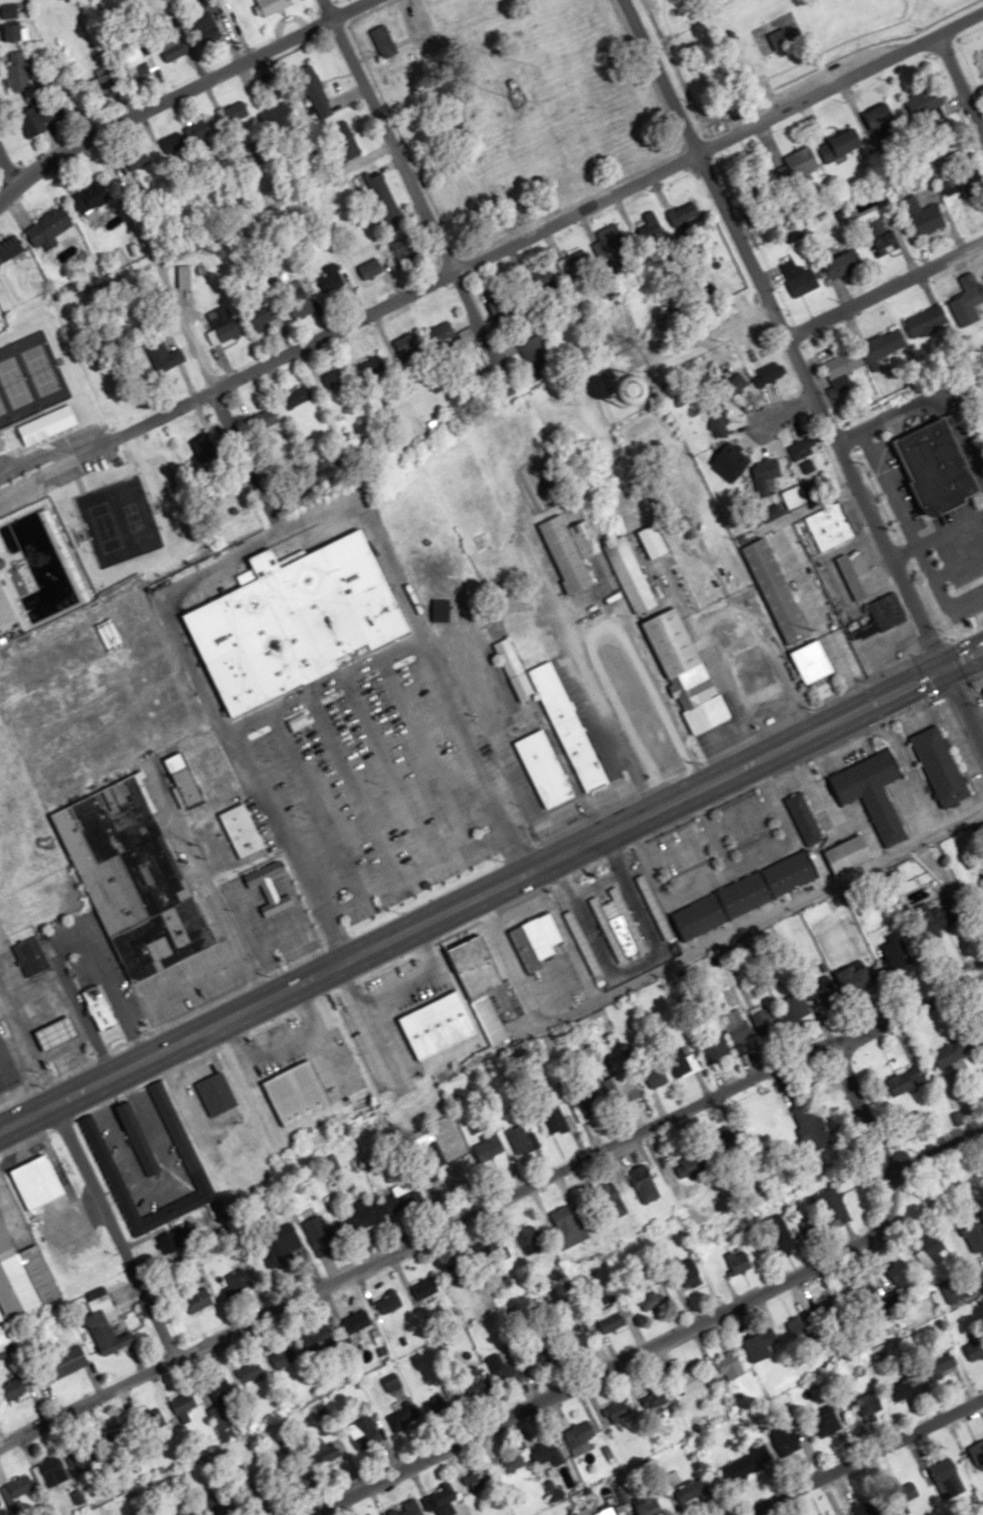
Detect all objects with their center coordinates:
building: (271, 6)
building: (11, 23)
building: (207, 28)
building: (779, 40)
building: (383, 42)
park: (770, 45)
building: (176, 49)
building: (18, 72)
road: (771, 75)
parking lot: (809, 80)
road: (960, 80)
building: (314, 91)
road: (180, 93)
building: (936, 107)
building: (241, 109)
building: (880, 117)
building: (39, 119)
building: (187, 135)
building: (344, 140)
building: (841, 145)
building: (254, 153)
building: (800, 157)
road: (7, 169)
building: (963, 182)
building: (371, 187)
road: (413, 190)
building: (91, 197)
building: (923, 215)
building: (686, 219)
building: (756, 219)
road: (549, 224)
building: (50, 229)
building: (883, 236)
building: (611, 238)
building: (11, 249)
building: (574, 262)
building: (842, 265)
building: (370, 268)
road: (157, 274)
building: (797, 276)
building: (543, 277)
building: (331, 280)
road: (885, 288)
building: (298, 298)
building: (503, 305)
building: (264, 313)
building: (223, 324)
road: (784, 331)
building: (442, 333)
building: (407, 346)
building: (883, 349)
building: (533, 354)
building: (164, 357)
building: (842, 364)
building: (769, 373)
park: (28, 377)
building: (734, 383)
water tower: (629, 393)
building: (296, 397)
road: (778, 412)
building: (266, 419)
building: (717, 421)
building: (801, 448)
building: (939, 462)
parking lot: (52, 463)
building: (792, 492)
building: (829, 526)
road: (254, 541)
parking lot: (936, 541)
building: (569, 549)
road: (793, 573)
building: (630, 575)
building: (852, 577)
building: (777, 590)
building: (440, 609)
building: (886, 610)
building: (5, 613)
building: (295, 619)
building: (864, 630)
building: (0, 644)
building: (620, 656)
building: (812, 661)
traffic signals: (947, 663)
building: (514, 669)
building: (687, 669)
building: (759, 676)
road: (324, 683)
road: (965, 699)
building: (523, 713)
building: (568, 728)
building: (648, 740)
building: (940, 767)
building: (544, 769)
building: (184, 778)
parking lot: (378, 789)
building: (871, 791)
building: (803, 818)
building: (242, 830)
building: (848, 854)
building: (133, 880)
road: (490, 883)
building: (269, 887)
building: (744, 895)
building: (653, 907)
building: (938, 917)
building: (618, 925)
building: (536, 940)
building: (581, 943)
building: (896, 952)
building: (30, 957)
building: (858, 980)
building: (480, 984)
building: (826, 992)
building: (797, 1006)
building: (100, 1008)
road: (176, 1018)
building: (764, 1021)
building: (436, 1023)
building: (735, 1026)
building: (58, 1033)
building: (718, 1049)
building: (954, 1049)
building: (682, 1061)
building: (7, 1070)
building: (906, 1081)
road: (847, 1083)
building: (621, 1088)
building: (297, 1092)
building: (215, 1093)
road: (922, 1094)
building: (588, 1106)
building: (554, 1121)
building: (812, 1125)
building: (137, 1138)
building: (521, 1140)
building: (488, 1146)
building: (102, 1157)
building: (37, 1181)
building: (644, 1183)
building: (403, 1197)
road: (487, 1199)
building: (613, 1200)
building: (832, 1208)
building: (364, 1216)
building: (568, 1226)
building: (808, 1226)
road: (110, 1231)
building: (318, 1231)
building: (778, 1235)
building: (975, 1236)
building: (531, 1238)
building: (174, 1240)
building: (286, 1250)
building: (933, 1250)
building: (501, 1252)
building: (739, 1261)
building: (459, 1265)
building: (687, 1272)
building: (901, 1273)
road: (976, 1275)
building: (23, 1280)
building: (236, 1280)
building: (872, 1291)
building: (951, 1291)
building: (425, 1292)
building: (652, 1300)
building: (199, 1301)
building: (388, 1302)
building: (825, 1312)
building: (1, 1316)
building: (355, 1323)
building: (743, 1330)
building: (580, 1332)
building: (4, 1334)
building: (110, 1339)
road: (638, 1348)
building: (757, 1348)
building: (974, 1349)
building: (947, 1363)
building: (62, 1364)
building: (249, 1370)
building: (503, 1370)
building: (728, 1371)
building: (393, 1386)
building: (690, 1387)
building: (903, 1388)
building: (14, 1389)
building: (654, 1399)
building: (183, 1403)
building: (436, 1405)
building: (617, 1410)
building: (221, 1416)
building: (401, 1417)
building: (369, 1431)
building: (580, 1436)
building: (547, 1452)
road: (854, 1452)
building: (977, 1452)
building: (511, 1462)
building: (741, 1467)
building: (39, 1473)
building: (478, 1481)
building: (692, 1490)
building: (15, 1492)
building: (443, 1494)
building: (219, 1504)
building: (647, 1504)
building: (411, 1507)
building: (604, 1509)
road: (741, 1511)

